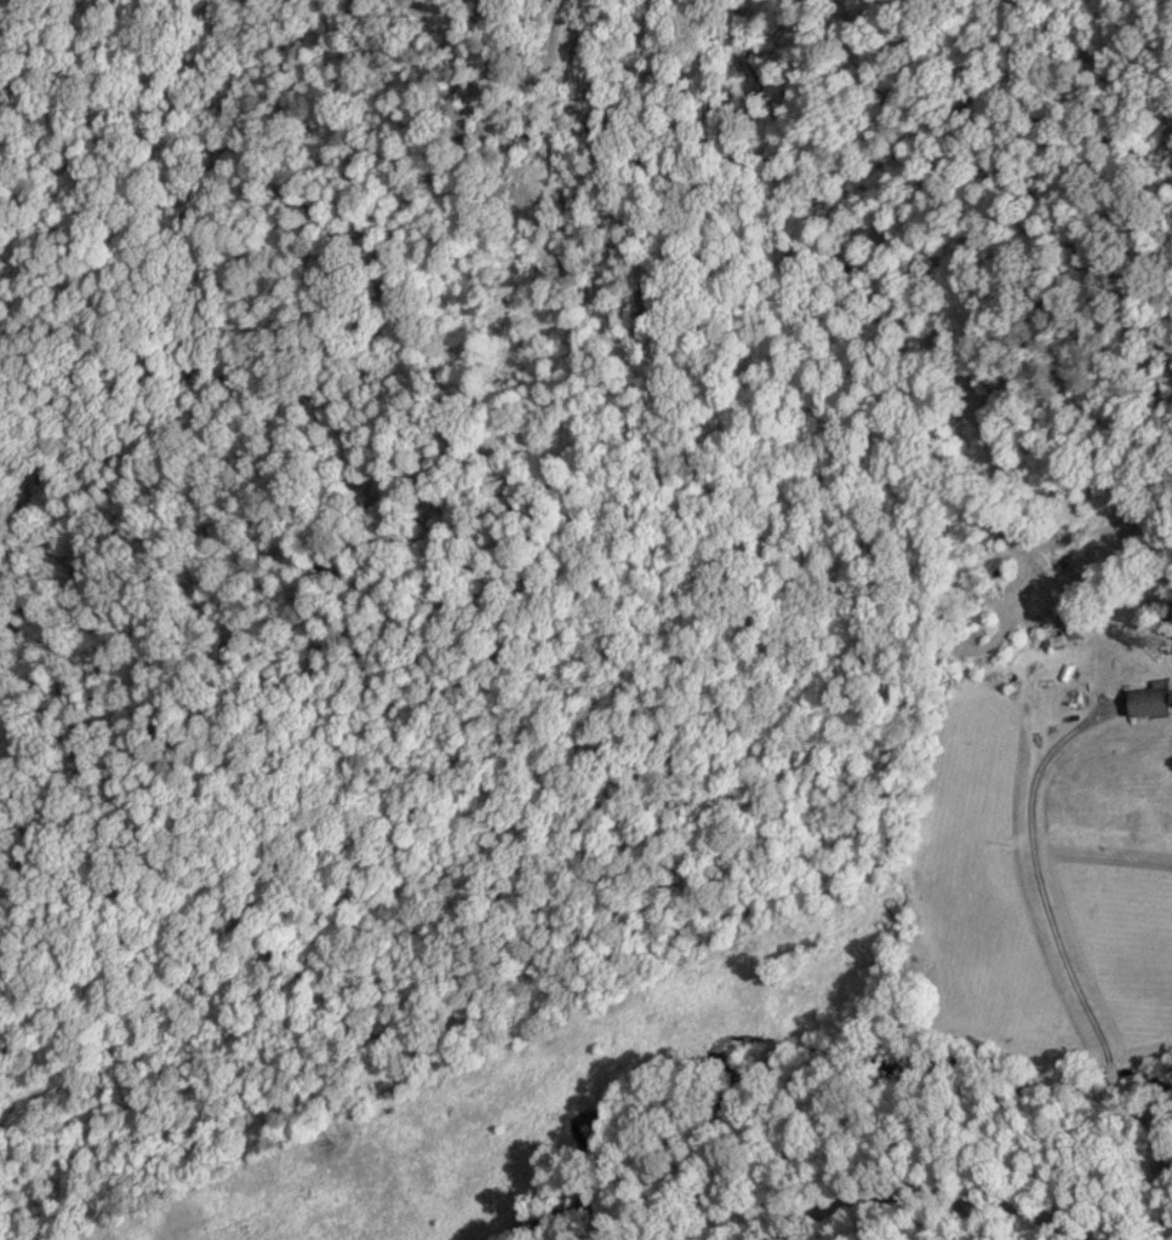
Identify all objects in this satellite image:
road: (904, 1176)

